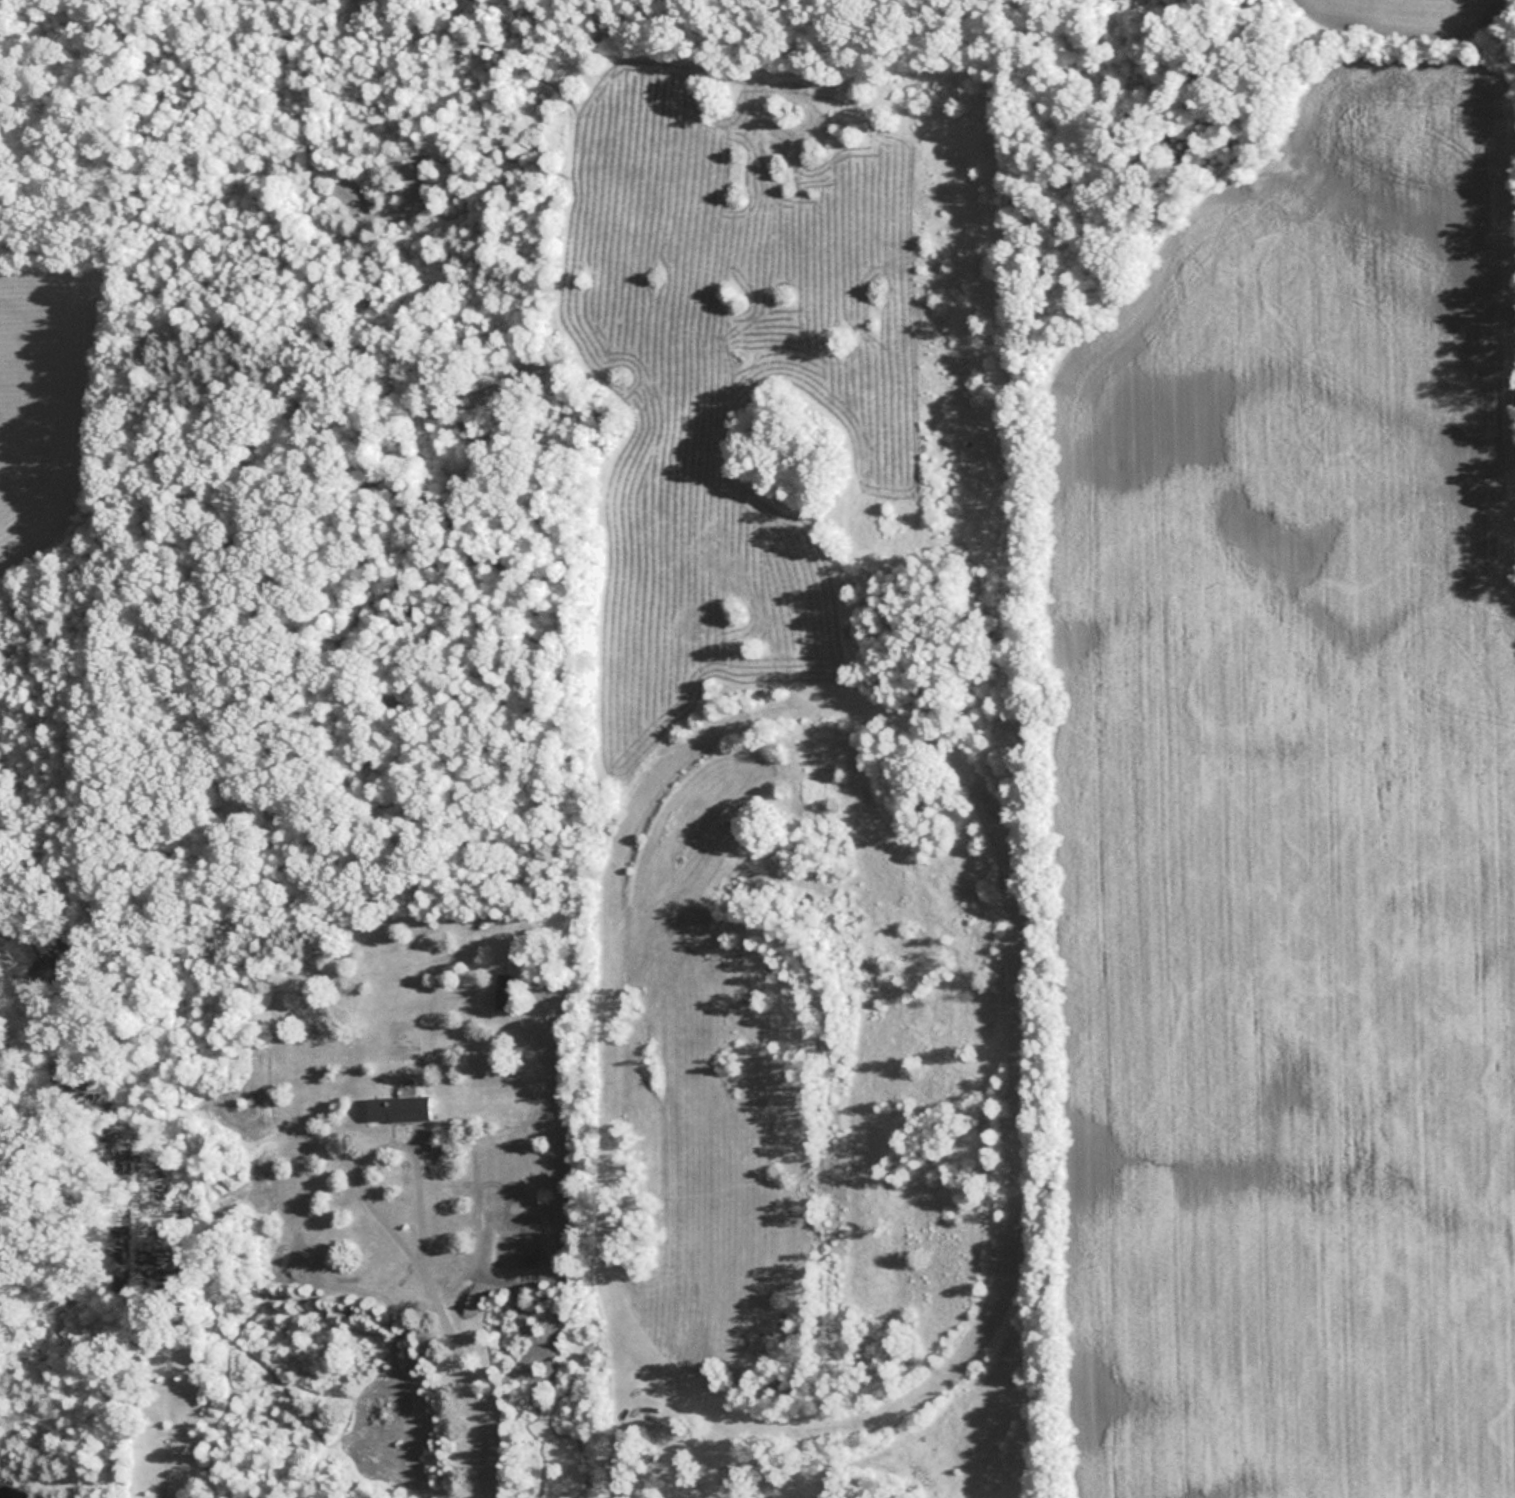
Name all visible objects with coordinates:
building: (502, 995)
building: (398, 1107)
road: (445, 1339)

